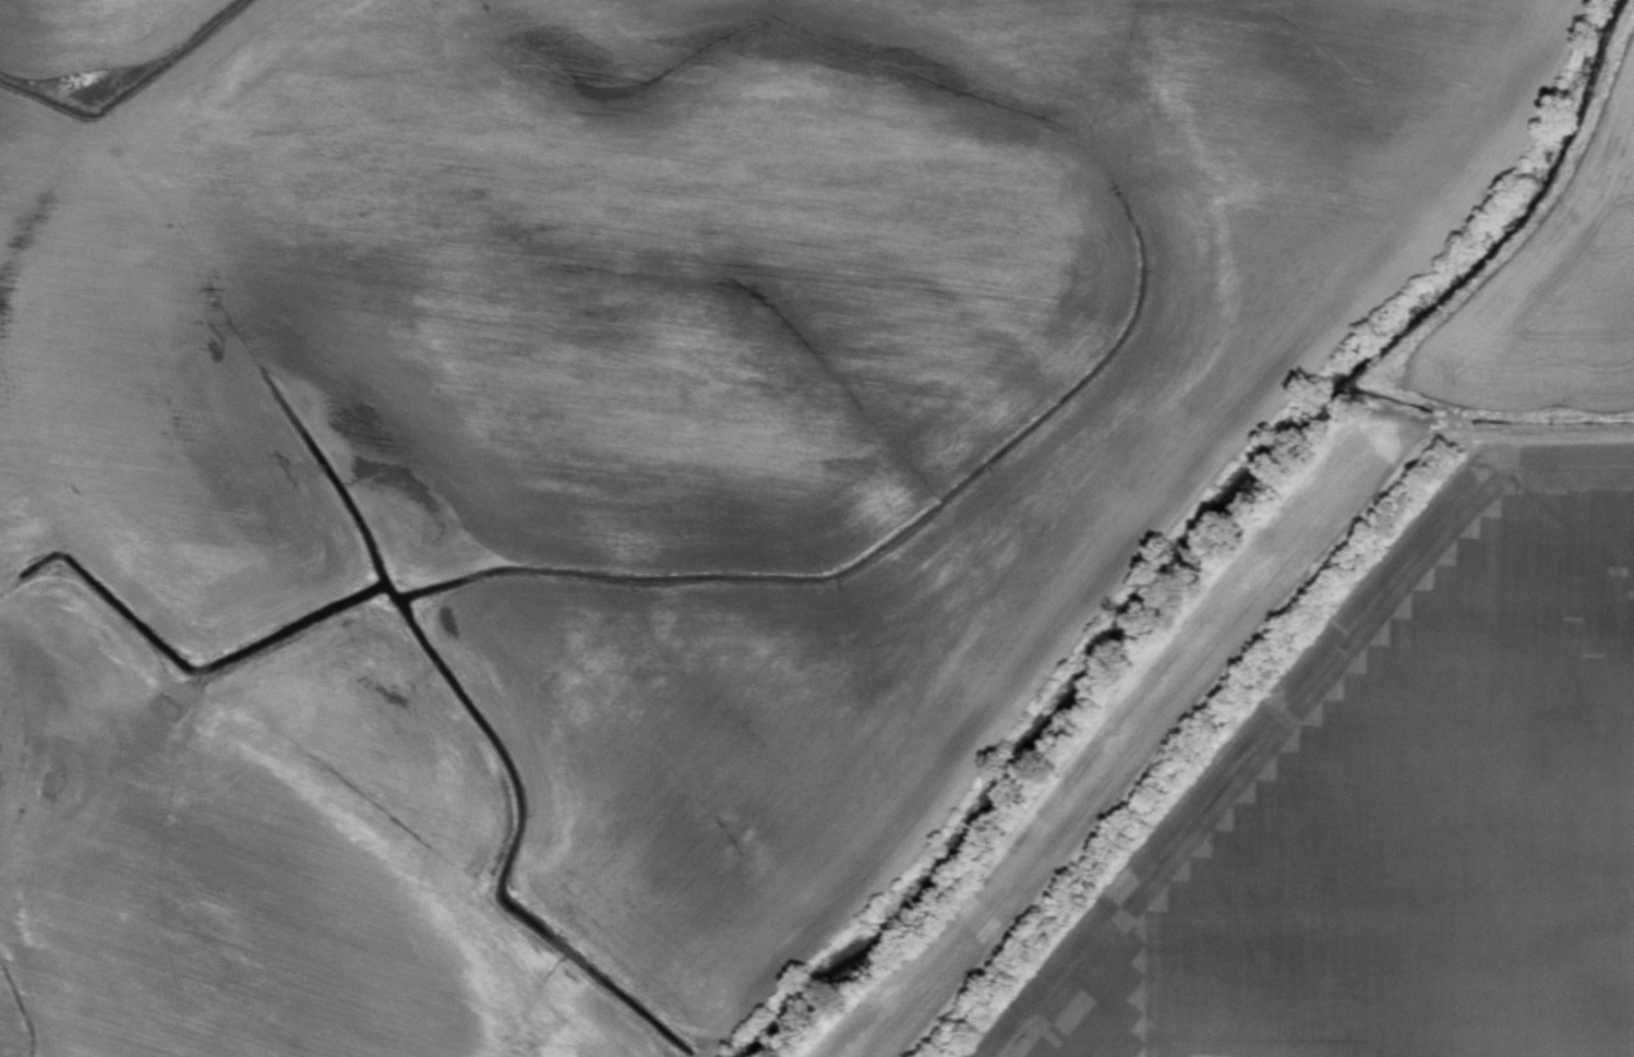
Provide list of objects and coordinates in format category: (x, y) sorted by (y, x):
road: (1184, 636)

